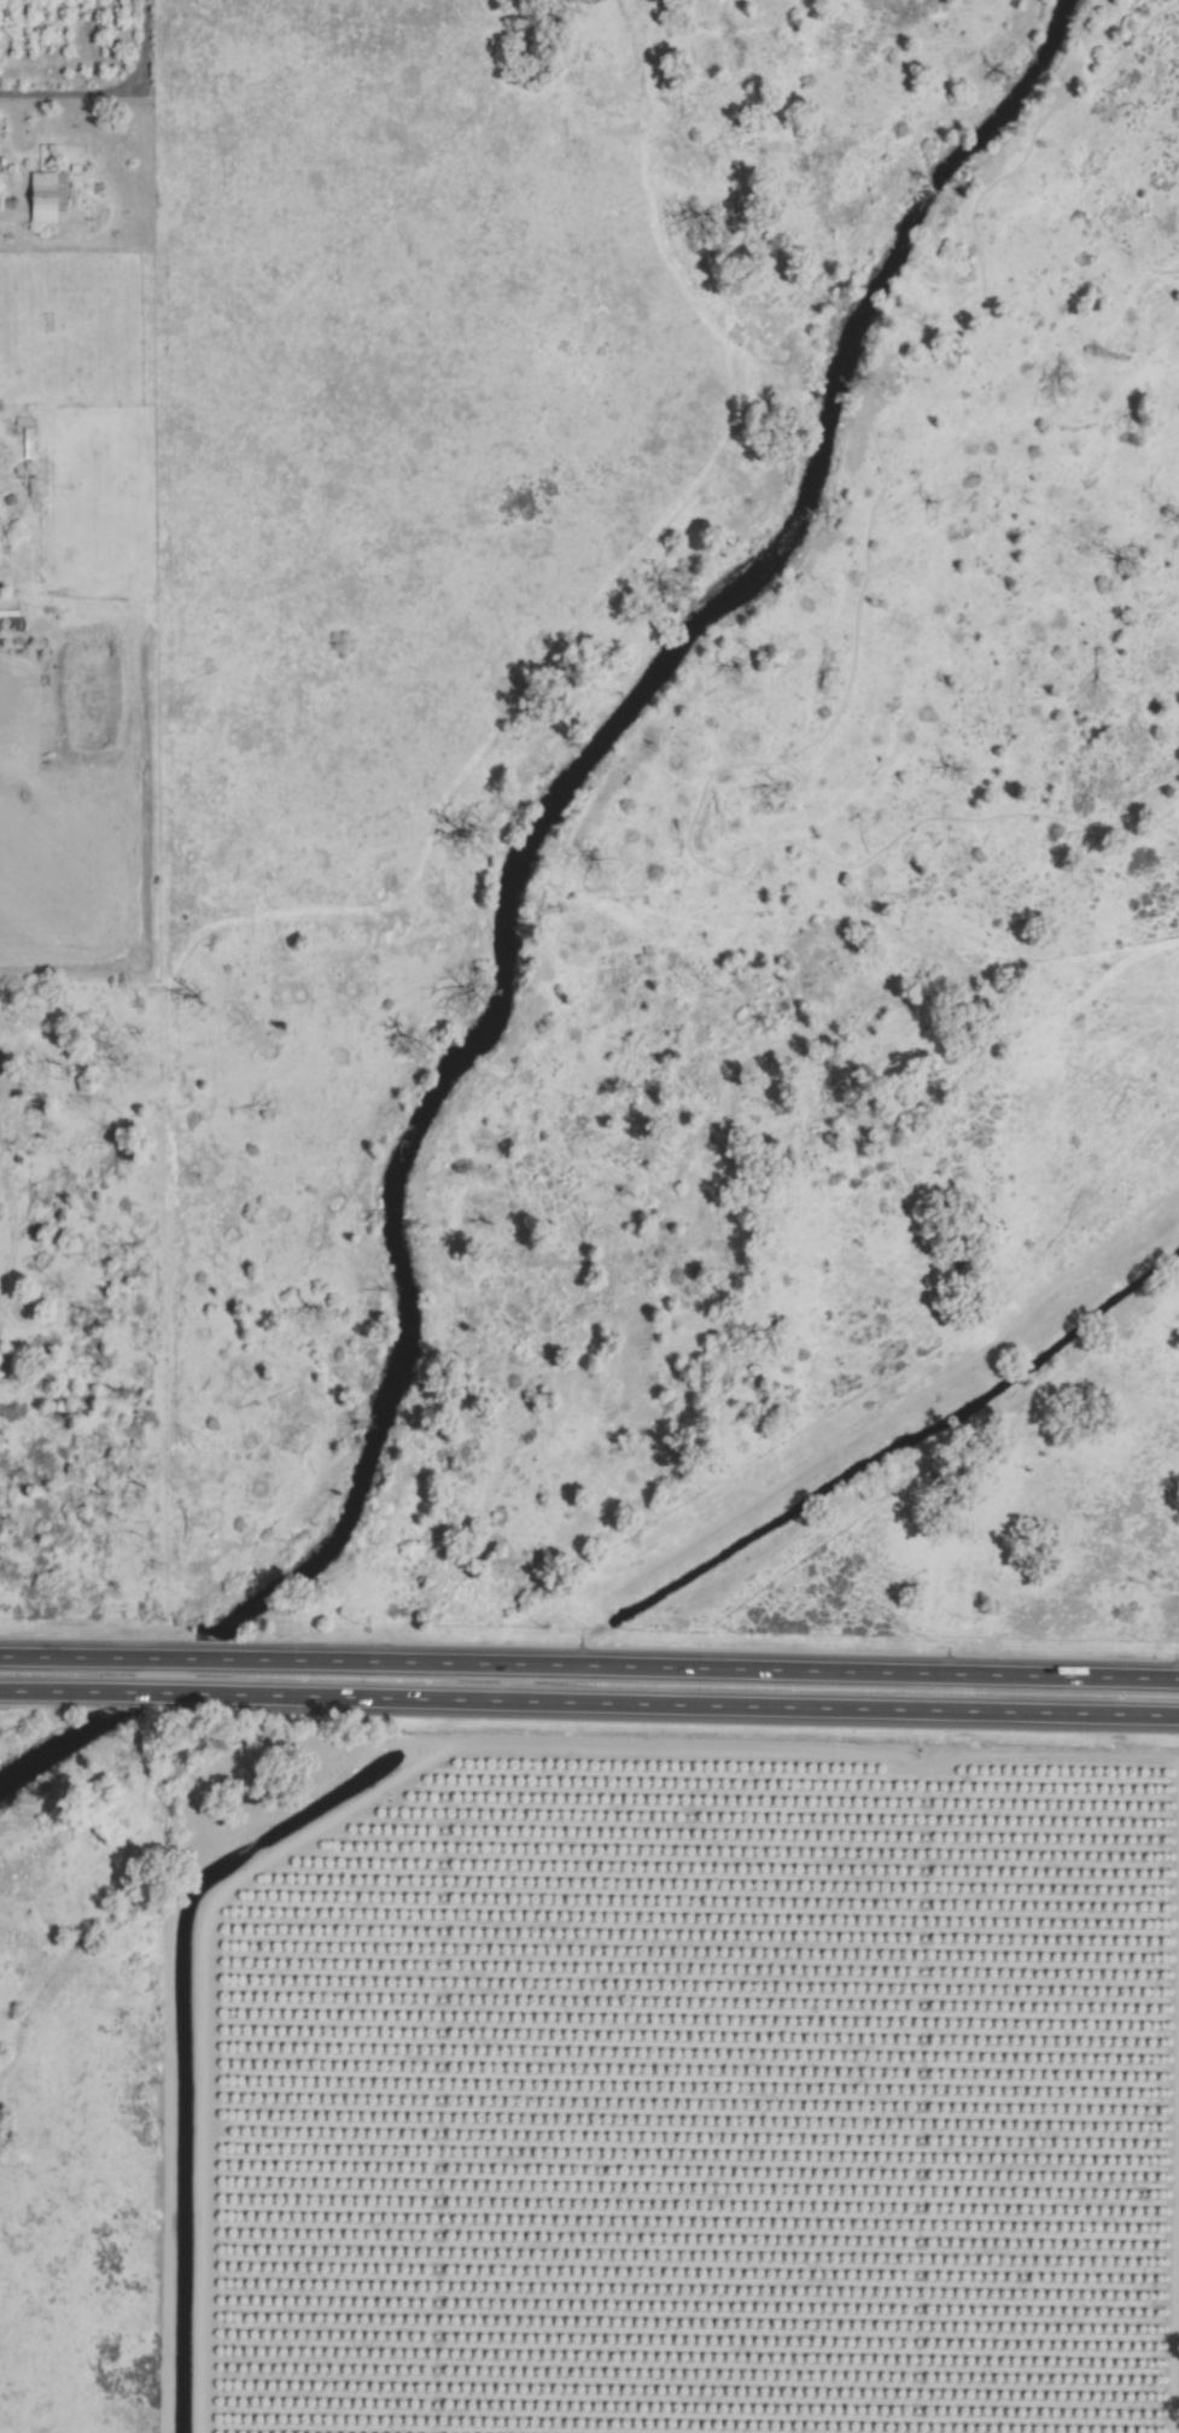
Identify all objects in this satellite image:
crop: (48, 51)
road: (111, 94)
building: (43, 197)
crop: (578, 987)
road: (8, 1224)
road: (589, 1667)
road: (589, 1703)
crop: (694, 2112)
crop: (1173, 2298)

